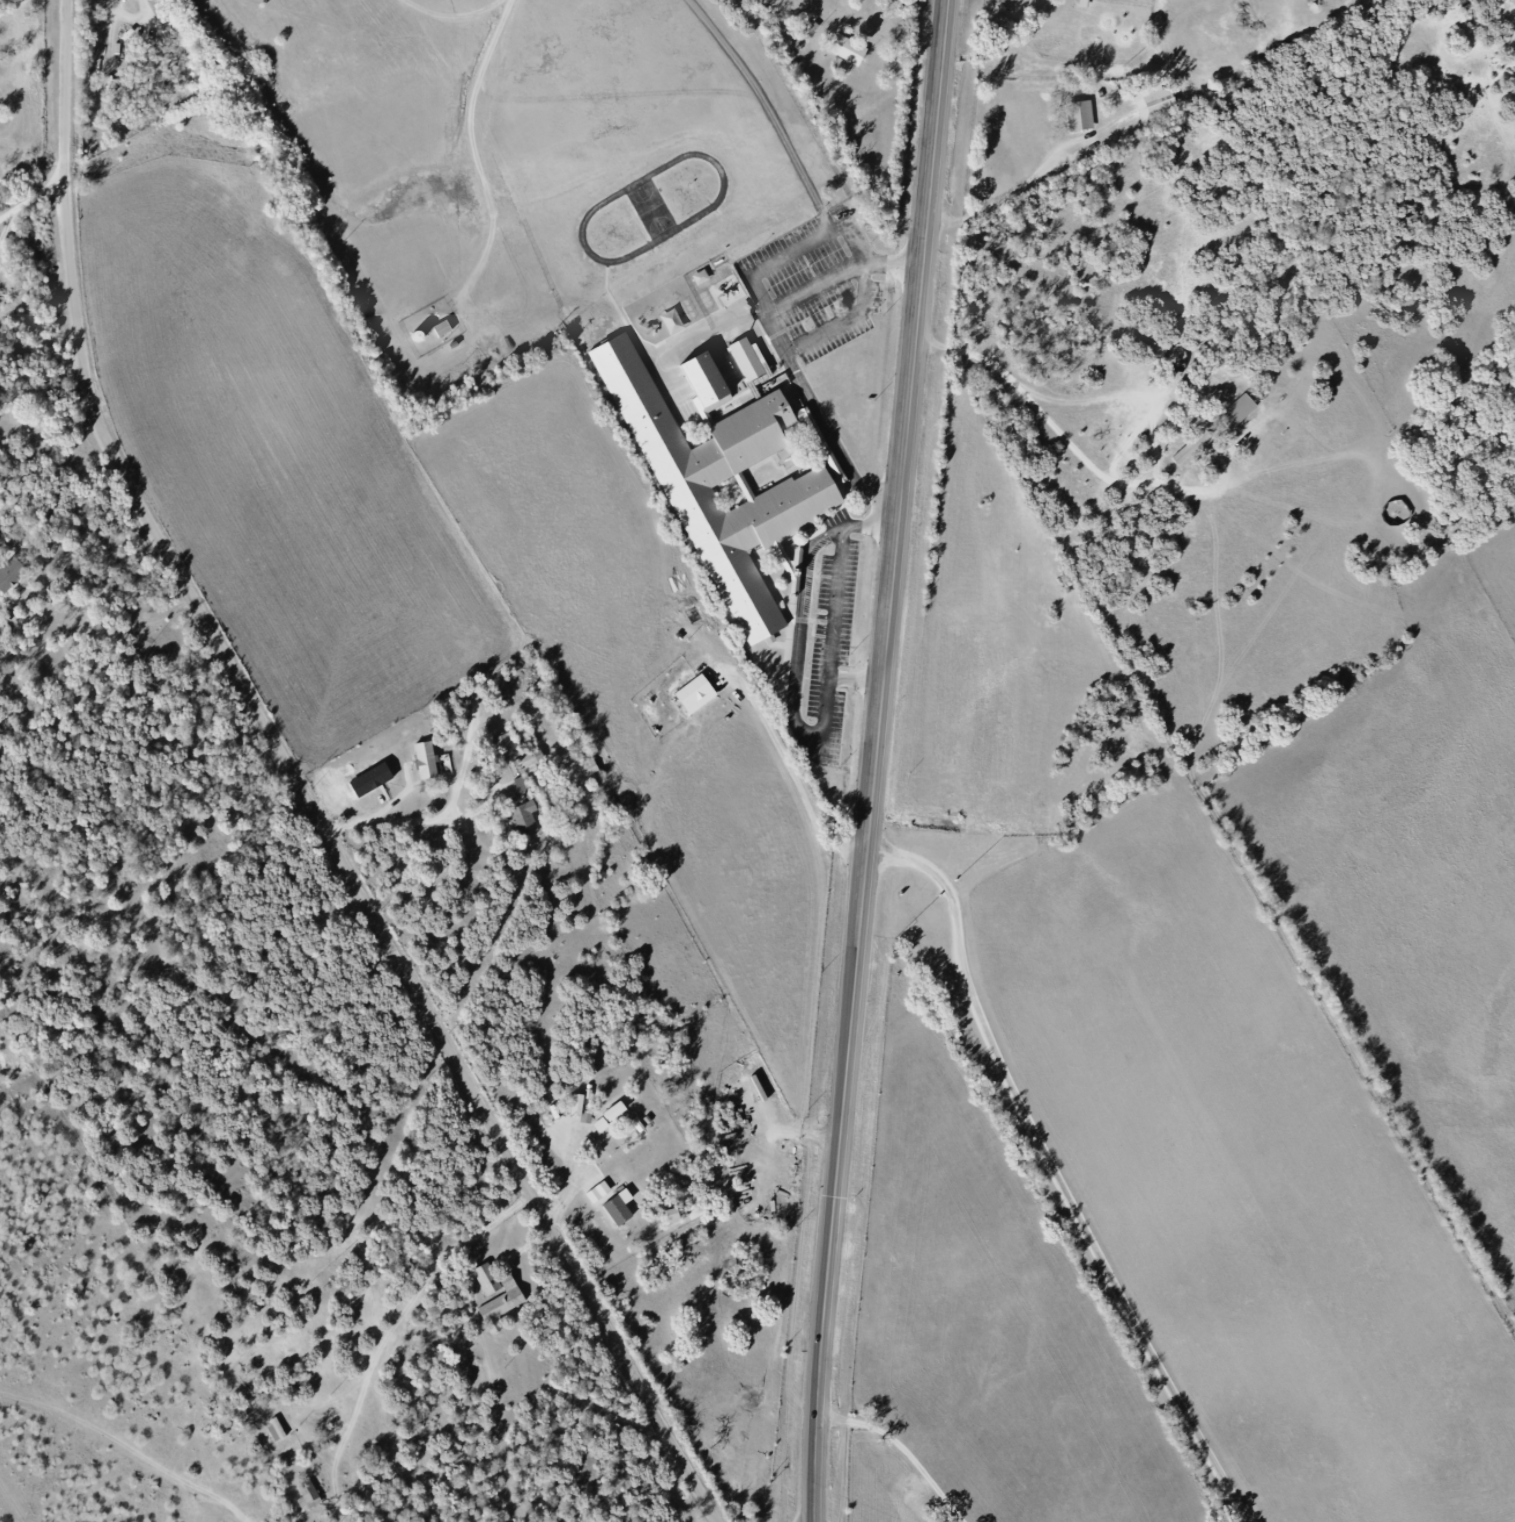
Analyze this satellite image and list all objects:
building: (823, 0)
building: (559, 3)
building: (844, 48)
building: (524, 71)
building: (158, 76)
building: (1150, 102)
building: (1074, 115)
track: (659, 208)
track: (660, 208)
building: (675, 318)
building: (443, 329)
building: (752, 363)
building: (712, 390)
building: (1232, 412)
building: (1186, 449)
road: (908, 467)
building: (801, 500)
building: (10, 574)
building: (702, 697)
building: (498, 744)
building: (426, 761)
building: (533, 761)
building: (590, 769)
road: (308, 789)
building: (518, 816)
building: (579, 1107)
building: (615, 1113)
road: (1057, 1174)
building: (627, 1215)
road: (835, 1228)
building: (505, 1303)
building: (275, 1430)
road: (907, 1447)
building: (309, 1494)

